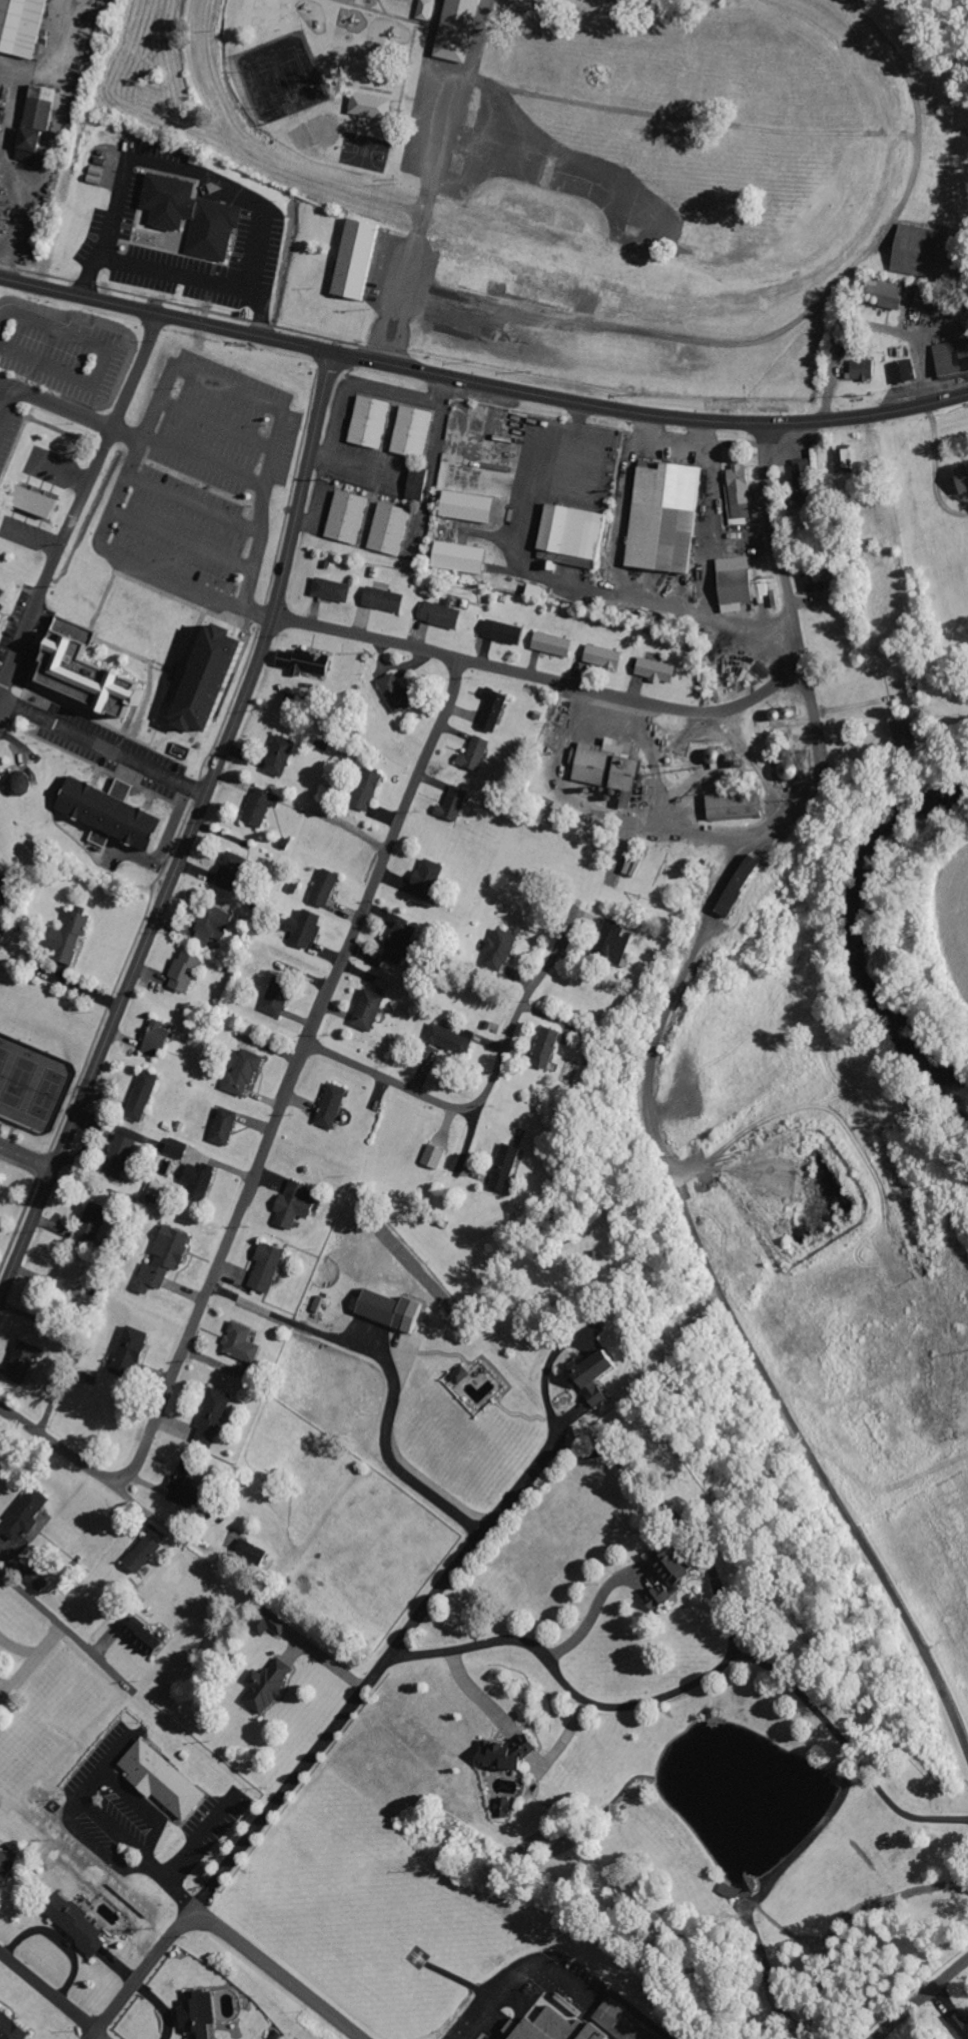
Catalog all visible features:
building: (422, 9)
building: (25, 26)
building: (452, 30)
building: (366, 106)
building: (40, 128)
building: (213, 229)
building: (919, 252)
building: (352, 260)
road: (626, 260)
road: (397, 284)
building: (884, 293)
road: (106, 354)
building: (950, 357)
building: (859, 370)
building: (902, 371)
road: (481, 384)
road: (13, 387)
road: (226, 387)
road: (50, 402)
building: (372, 421)
road: (215, 424)
building: (415, 431)
building: (842, 461)
building: (798, 473)
building: (958, 479)
road: (256, 484)
building: (742, 484)
road: (79, 501)
road: (192, 502)
building: (47, 504)
building: (473, 506)
building: (349, 516)
building: (670, 517)
building: (392, 528)
building: (576, 536)
road: (181, 540)
building: (465, 557)
road: (121, 558)
building: (816, 581)
building: (335, 589)
building: (742, 589)
building: (5, 591)
building: (540, 591)
building: (387, 599)
building: (444, 615)
building: (507, 631)
building: (556, 644)
building: (606, 656)
building: (307, 662)
building: (659, 670)
building: (93, 672)
building: (219, 678)
road: (541, 681)
building: (397, 693)
building: (495, 709)
building: (909, 732)
road: (103, 746)
building: (477, 754)
building: (281, 755)
building: (613, 767)
building: (24, 783)
building: (368, 788)
road: (809, 796)
building: (456, 803)
building: (731, 803)
building: (261, 805)
building: (119, 811)
road: (190, 831)
building: (100, 836)
building: (232, 871)
building: (430, 879)
building: (742, 883)
building: (326, 887)
road: (1, 893)
building: (211, 924)
building: (308, 928)
building: (74, 936)
building: (404, 942)
building: (615, 942)
building: (503, 946)
building: (187, 971)
building: (280, 996)
building: (371, 1009)
road: (520, 1009)
building: (160, 1038)
building: (452, 1040)
building: (551, 1047)
building: (246, 1072)
road: (392, 1081)
building: (145, 1095)
road: (286, 1098)
building: (333, 1106)
building: (227, 1126)
road: (468, 1143)
building: (178, 1148)
road: (25, 1156)
building: (436, 1156)
building: (122, 1157)
building: (508, 1167)
building: (201, 1177)
building: (299, 1203)
building: (93, 1224)
building: (167, 1258)
building: (271, 1267)
building: (75, 1271)
building: (396, 1310)
building: (245, 1342)
building: (133, 1352)
building: (25, 1361)
building: (463, 1374)
building: (599, 1374)
building: (216, 1417)
road: (36, 1432)
building: (194, 1490)
building: (28, 1515)
building: (146, 1554)
building: (678, 1566)
building: (39, 1580)
building: (661, 1598)
building: (271, 1623)
road: (65, 1627)
building: (148, 1636)
road: (925, 1655)
road: (379, 1670)
building: (1, 1678)
building: (269, 1686)
building: (168, 1780)
building: (504, 1809)
building: (7, 1863)
building: (81, 1926)
helipad: (414, 1956)
road: (275, 1974)
road: (145, 1975)
road: (50, 1996)
road: (921, 1999)
building: (202, 2014)
building: (616, 2022)
building: (958, 2023)
building: (13, 2027)
building: (542, 2029)

